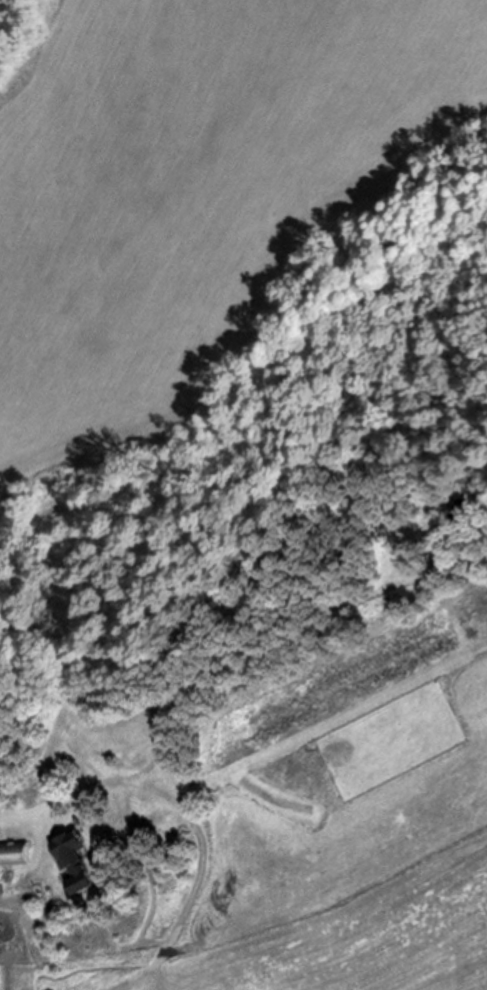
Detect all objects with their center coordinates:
building: (454, 511)
road: (35, 817)
building: (20, 857)
building: (68, 861)
building: (87, 879)

